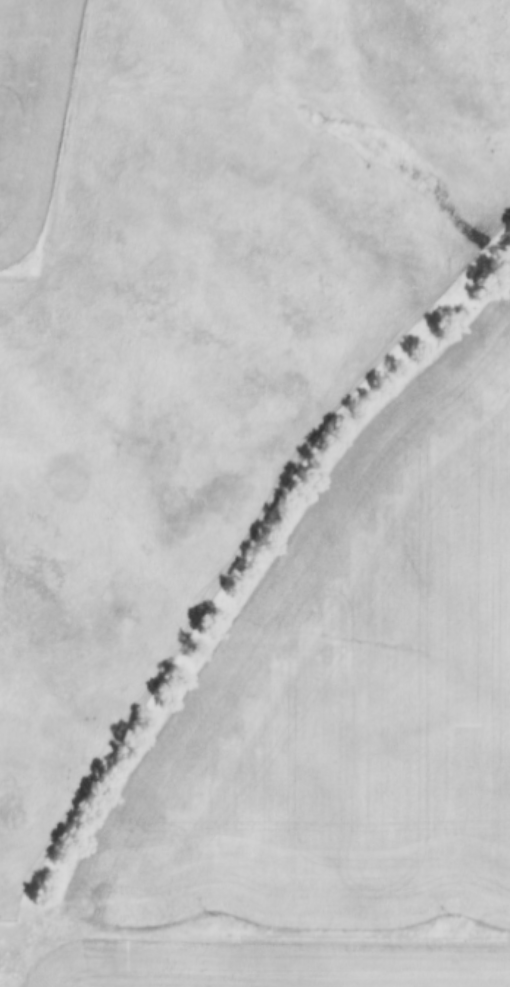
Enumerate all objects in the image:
road: (45, 293)
road: (103, 788)
road: (274, 934)

